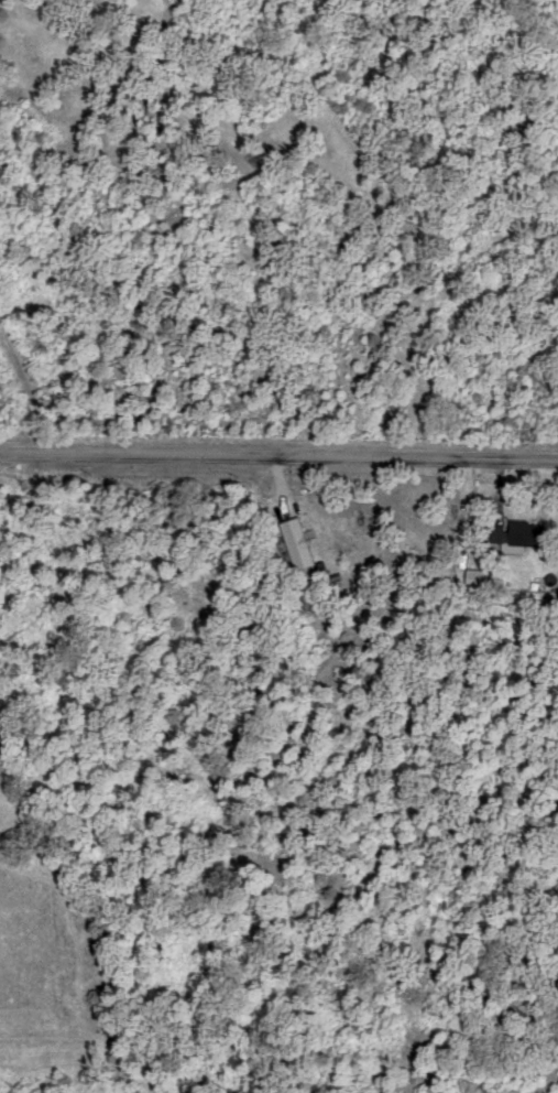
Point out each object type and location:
road: (278, 458)
building: (516, 532)
building: (295, 545)
building: (473, 575)

